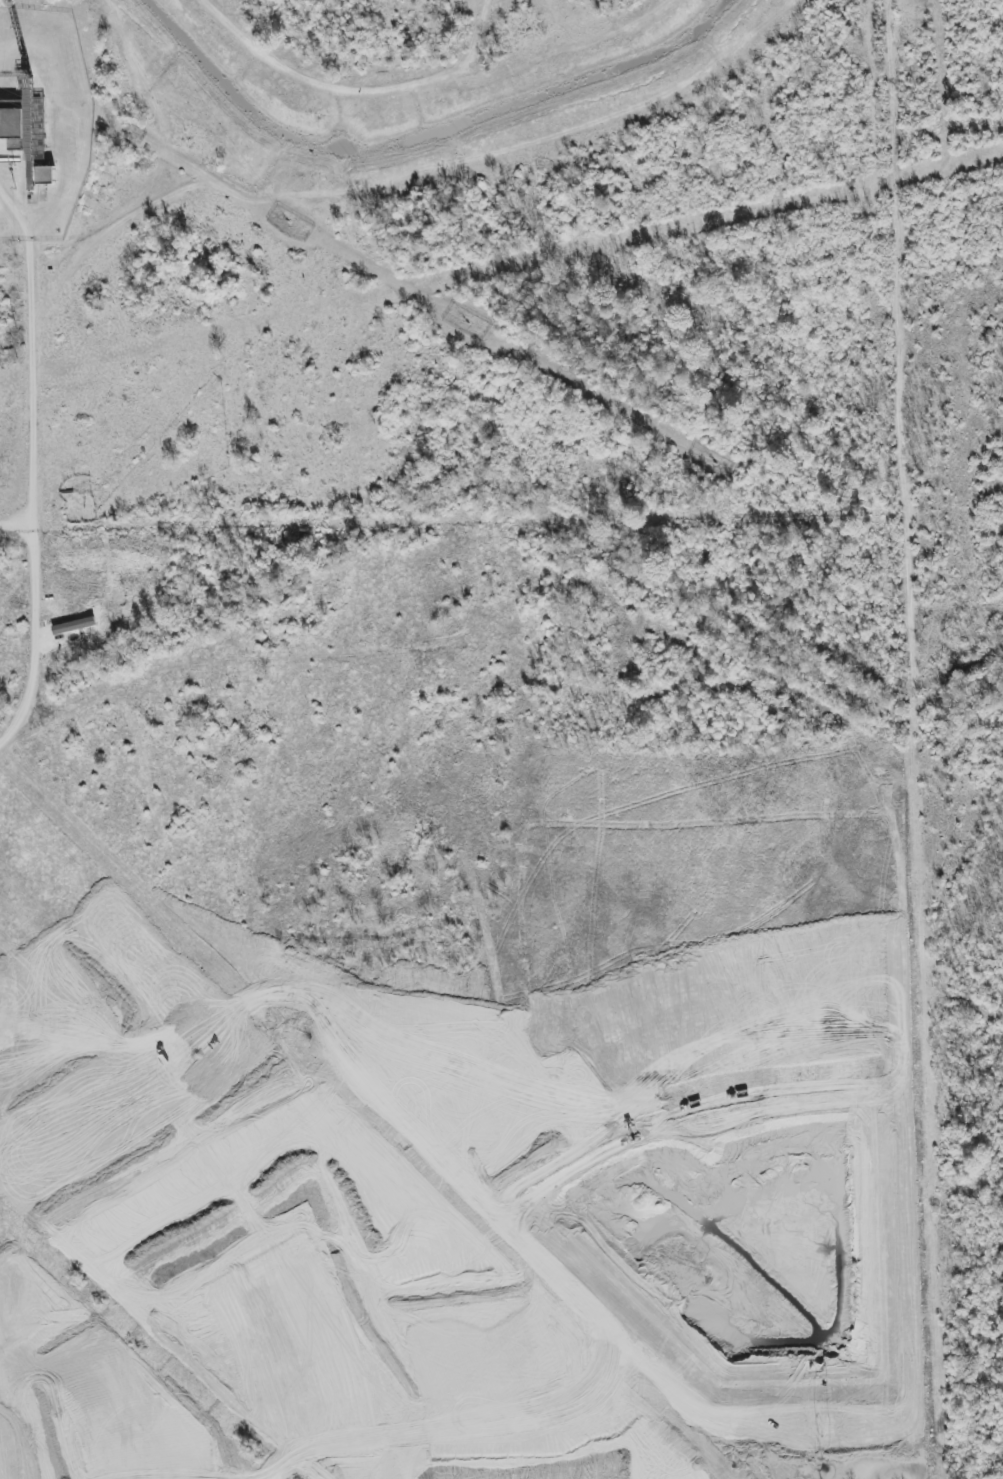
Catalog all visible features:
building: (46, 175)
road: (32, 467)
road: (17, 527)
road: (271, 1222)
road: (9, 1234)
road: (423, 1302)
road: (213, 1375)
road: (30, 1393)
road: (507, 1477)

